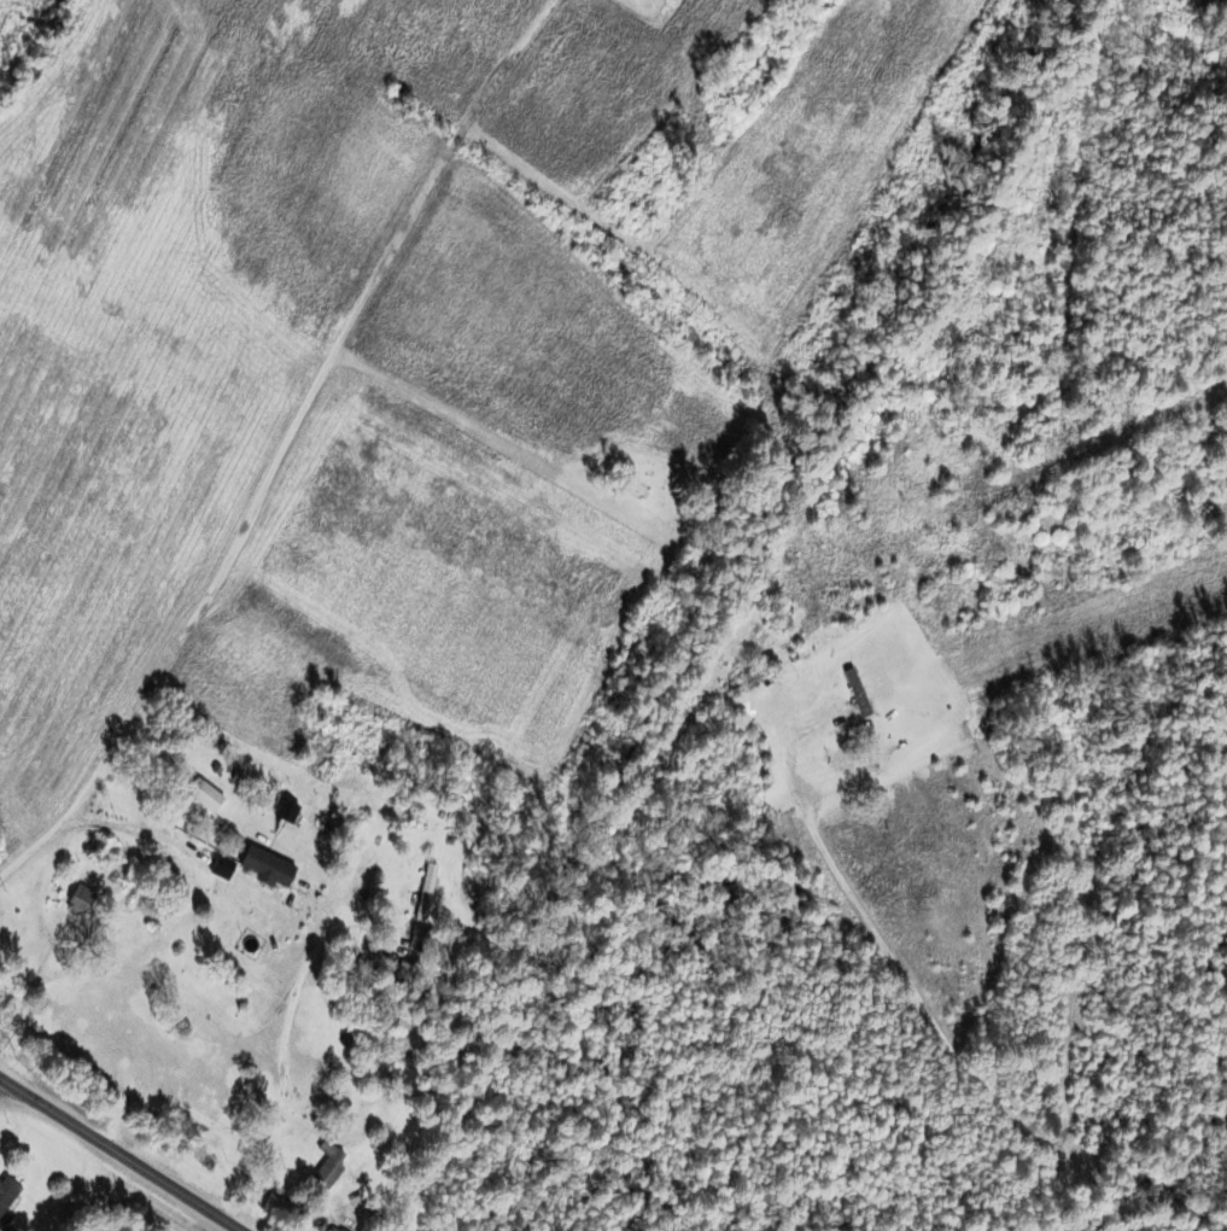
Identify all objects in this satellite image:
road: (252, 506)
building: (746, 678)
road: (848, 724)
building: (208, 807)
road: (27, 860)
building: (81, 892)
building: (423, 893)
road: (942, 1038)
road: (119, 1154)
building: (325, 1167)
building: (6, 1192)
building: (331, 1229)

